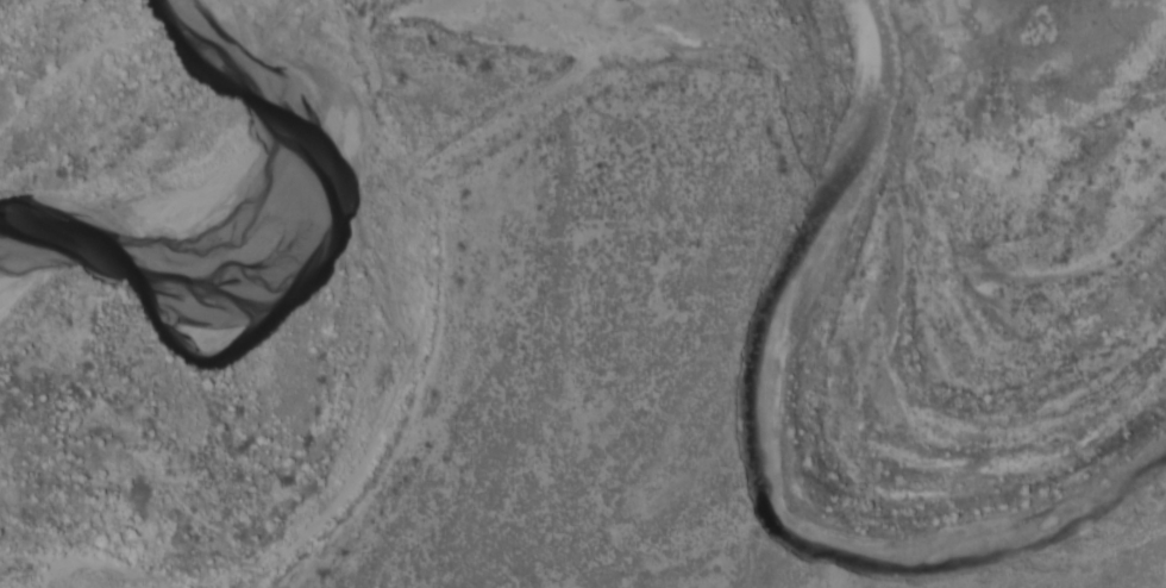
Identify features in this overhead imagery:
river: (170, 161)
river: (777, 457)
river: (35, 574)

